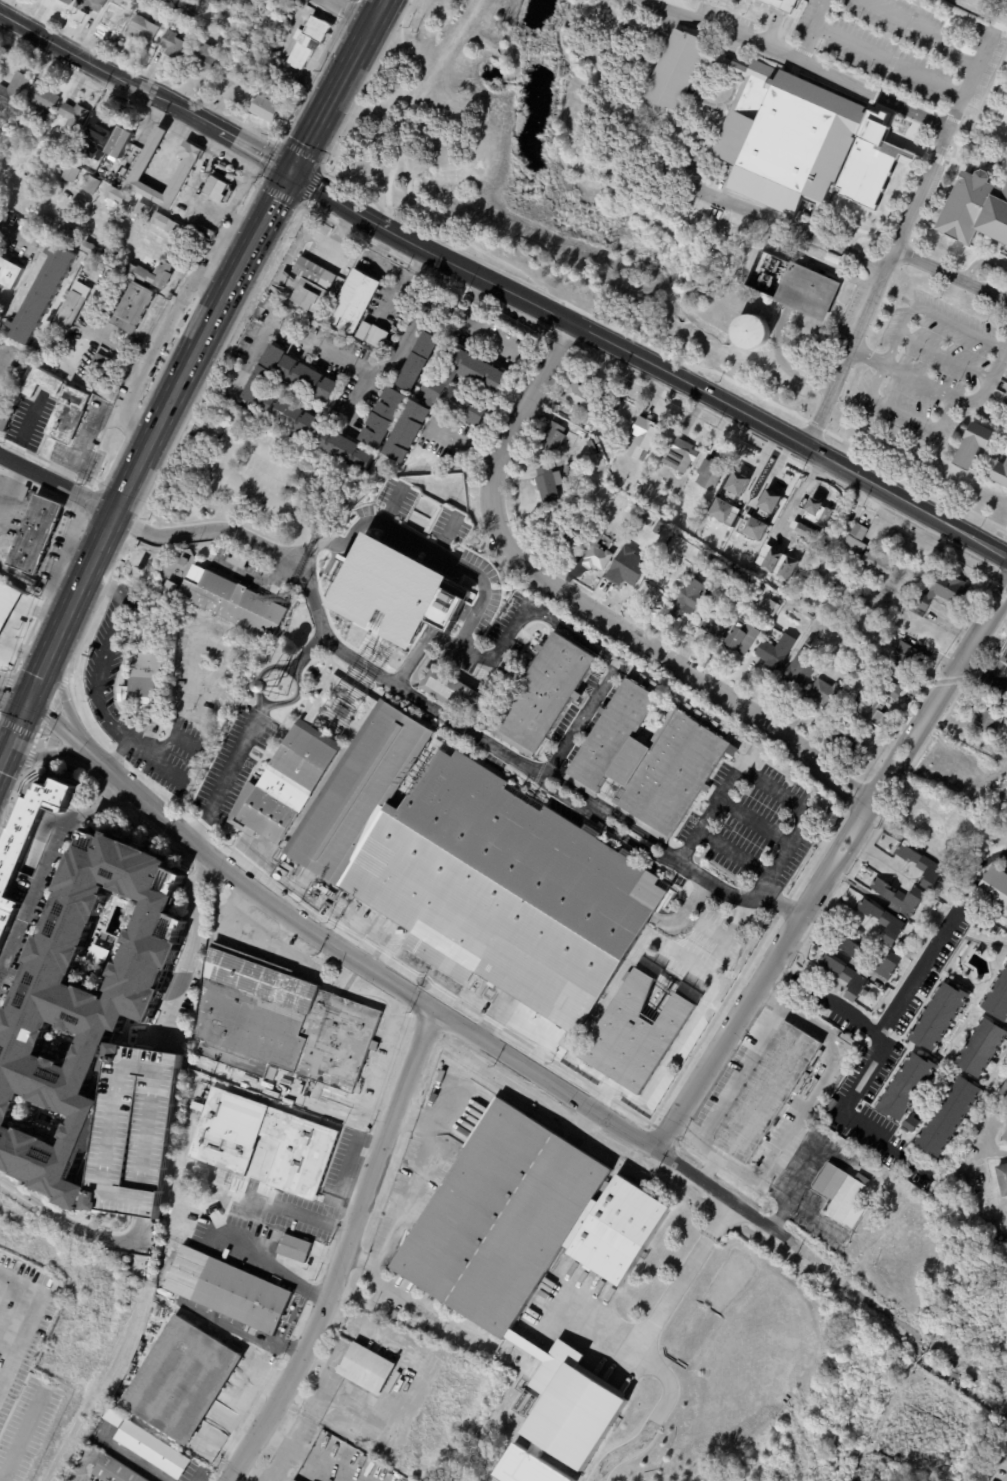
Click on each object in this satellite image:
building: (70, 1)
building: (217, 1)
building: (240, 3)
building: (781, 4)
building: (92, 5)
building: (195, 5)
road: (669, 6)
road: (918, 6)
building: (265, 10)
road: (351, 11)
road: (977, 13)
building: (290, 15)
parking lot: (724, 15)
building: (119, 19)
parking lot: (772, 25)
road: (790, 26)
road: (909, 26)
road: (923, 28)
building: (146, 30)
road: (811, 31)
building: (226, 36)
building: (278, 36)
building: (305, 42)
building: (175, 44)
road: (761, 46)
road: (899, 47)
parking lot: (906, 48)
road: (805, 53)
building: (207, 60)
road: (434, 60)
road: (888, 61)
road: (890, 65)
road: (106, 73)
road: (851, 74)
road: (882, 82)
road: (969, 82)
building: (15, 92)
road: (997, 93)
road: (876, 96)
building: (43, 98)
building: (264, 109)
building: (75, 117)
building: (45, 119)
road: (954, 120)
building: (102, 129)
building: (122, 141)
building: (798, 142)
road: (252, 149)
building: (79, 151)
road: (301, 151)
road: (271, 156)
building: (90, 162)
building: (185, 168)
traffic signals: (291, 171)
building: (72, 173)
road: (310, 182)
building: (92, 185)
building: (218, 189)
road: (278, 192)
road: (251, 193)
road: (337, 197)
road: (190, 200)
building: (127, 201)
building: (975, 210)
building: (50, 219)
building: (738, 223)
building: (167, 224)
road: (233, 226)
road: (340, 231)
building: (66, 232)
building: (207, 232)
road: (11, 237)
road: (162, 247)
building: (92, 248)
road: (220, 251)
building: (112, 256)
road: (415, 263)
building: (9, 270)
road: (398, 274)
road: (478, 274)
building: (767, 274)
building: (146, 275)
road: (949, 276)
building: (83, 277)
road: (207, 277)
building: (314, 285)
road: (874, 289)
building: (174, 292)
building: (804, 293)
building: (42, 295)
building: (353, 301)
building: (134, 308)
road: (929, 311)
building: (74, 312)
road: (287, 321)
road: (474, 323)
building: (365, 330)
building: (752, 331)
storage tank: (752, 331)
road: (170, 349)
road: (403, 351)
road: (944, 355)
road: (219, 357)
road: (152, 358)
building: (419, 362)
road: (2, 363)
building: (99, 366)
parking lot: (934, 368)
road: (181, 378)
building: (43, 381)
building: (317, 389)
railway: (184, 392)
road: (939, 394)
building: (580, 399)
building: (448, 401)
building: (314, 404)
building: (553, 407)
road: (903, 412)
building: (1006, 412)
road: (521, 413)
building: (68, 414)
building: (9, 415)
building: (382, 417)
road: (132, 422)
building: (5, 425)
building: (590, 426)
road: (83, 434)
building: (553, 437)
building: (642, 437)
road: (789, 441)
road: (466, 445)
building: (595, 445)
building: (971, 448)
building: (346, 449)
road: (271, 451)
building: (679, 455)
road: (113, 461)
building: (569, 469)
building: (708, 473)
building: (1001, 473)
building: (548, 483)
road: (56, 484)
road: (10, 486)
building: (636, 486)
building: (736, 488)
road: (93, 499)
building: (768, 500)
building: (799, 516)
road: (84, 519)
building: (646, 520)
road: (133, 524)
building: (659, 529)
building: (569, 530)
building: (636, 533)
building: (36, 534)
building: (866, 551)
building: (596, 553)
road: (64, 554)
road: (119, 556)
building: (185, 561)
road: (65, 562)
building: (823, 566)
building: (625, 570)
building: (743, 579)
road: (35, 580)
road: (105, 584)
building: (659, 589)
building: (861, 591)
building: (832, 592)
building: (940, 593)
road: (446, 598)
building: (687, 598)
building: (5, 601)
building: (235, 603)
building: (769, 608)
road: (406, 617)
building: (808, 618)
building: (713, 622)
road: (86, 626)
building: (741, 638)
road: (26, 640)
building: (808, 641)
road: (108, 648)
building: (842, 649)
building: (775, 652)
building: (908, 655)
road: (415, 657)
building: (1004, 661)
road: (675, 662)
building: (798, 670)
road: (985, 672)
building: (147, 678)
building: (864, 679)
road: (603, 680)
building: (893, 681)
water tower: (278, 682)
road: (6, 683)
road: (56, 691)
building: (452, 691)
building: (823, 693)
building: (541, 694)
road: (13, 695)
road: (60, 704)
building: (870, 711)
road: (445, 714)
building: (987, 720)
road: (183, 724)
road: (259, 726)
road: (19, 728)
road: (37, 736)
building: (842, 741)
road: (44, 746)
road: (120, 753)
building: (644, 760)
road: (27, 762)
building: (1006, 772)
building: (1006, 774)
road: (764, 780)
building: (1003, 794)
building: (940, 825)
building: (30, 854)
road: (996, 857)
building: (460, 859)
building: (921, 866)
road: (831, 869)
road: (57, 878)
building: (993, 890)
road: (865, 892)
building: (899, 896)
road: (300, 918)
building: (883, 922)
building: (1006, 924)
road: (200, 951)
road: (836, 953)
building: (871, 960)
road: (919, 973)
building: (843, 976)
building: (873, 988)
building: (997, 998)
road: (825, 999)
road: (4, 1000)
building: (83, 1007)
building: (936, 1017)
building: (285, 1023)
road: (686, 1030)
building: (636, 1035)
building: (980, 1048)
building: (820, 1056)
road: (733, 1071)
building: (904, 1087)
building: (1003, 1090)
building: (766, 1093)
building: (830, 1107)
road: (408, 1112)
road: (847, 1114)
road: (795, 1117)
building: (946, 1117)
building: (911, 1124)
road: (622, 1129)
parking lot: (133, 1131)
building: (1004, 1136)
building: (266, 1143)
road: (994, 1152)
road: (805, 1154)
road: (707, 1167)
road: (347, 1171)
building: (1002, 1179)
building: (842, 1194)
road: (402, 1207)
road: (794, 1207)
road: (741, 1210)
road: (300, 1213)
road: (72, 1222)
building: (620, 1231)
building: (296, 1248)
road: (344, 1251)
building: (516, 1258)
building: (286, 1260)
road: (275, 1267)
building: (230, 1291)
building: (60, 1297)
road: (661, 1308)
road: (23, 1321)
road: (903, 1325)
building: (154, 1347)
building: (451, 1354)
building: (365, 1372)
park: (756, 1381)
building: (186, 1382)
road: (375, 1437)
road: (18, 1439)
building: (152, 1448)
road: (285, 1450)
road: (138, 1464)
road: (313, 1465)
building: (115, 1471)
park: (465, 1473)
road: (246, 1474)
building: (293, 1480)

